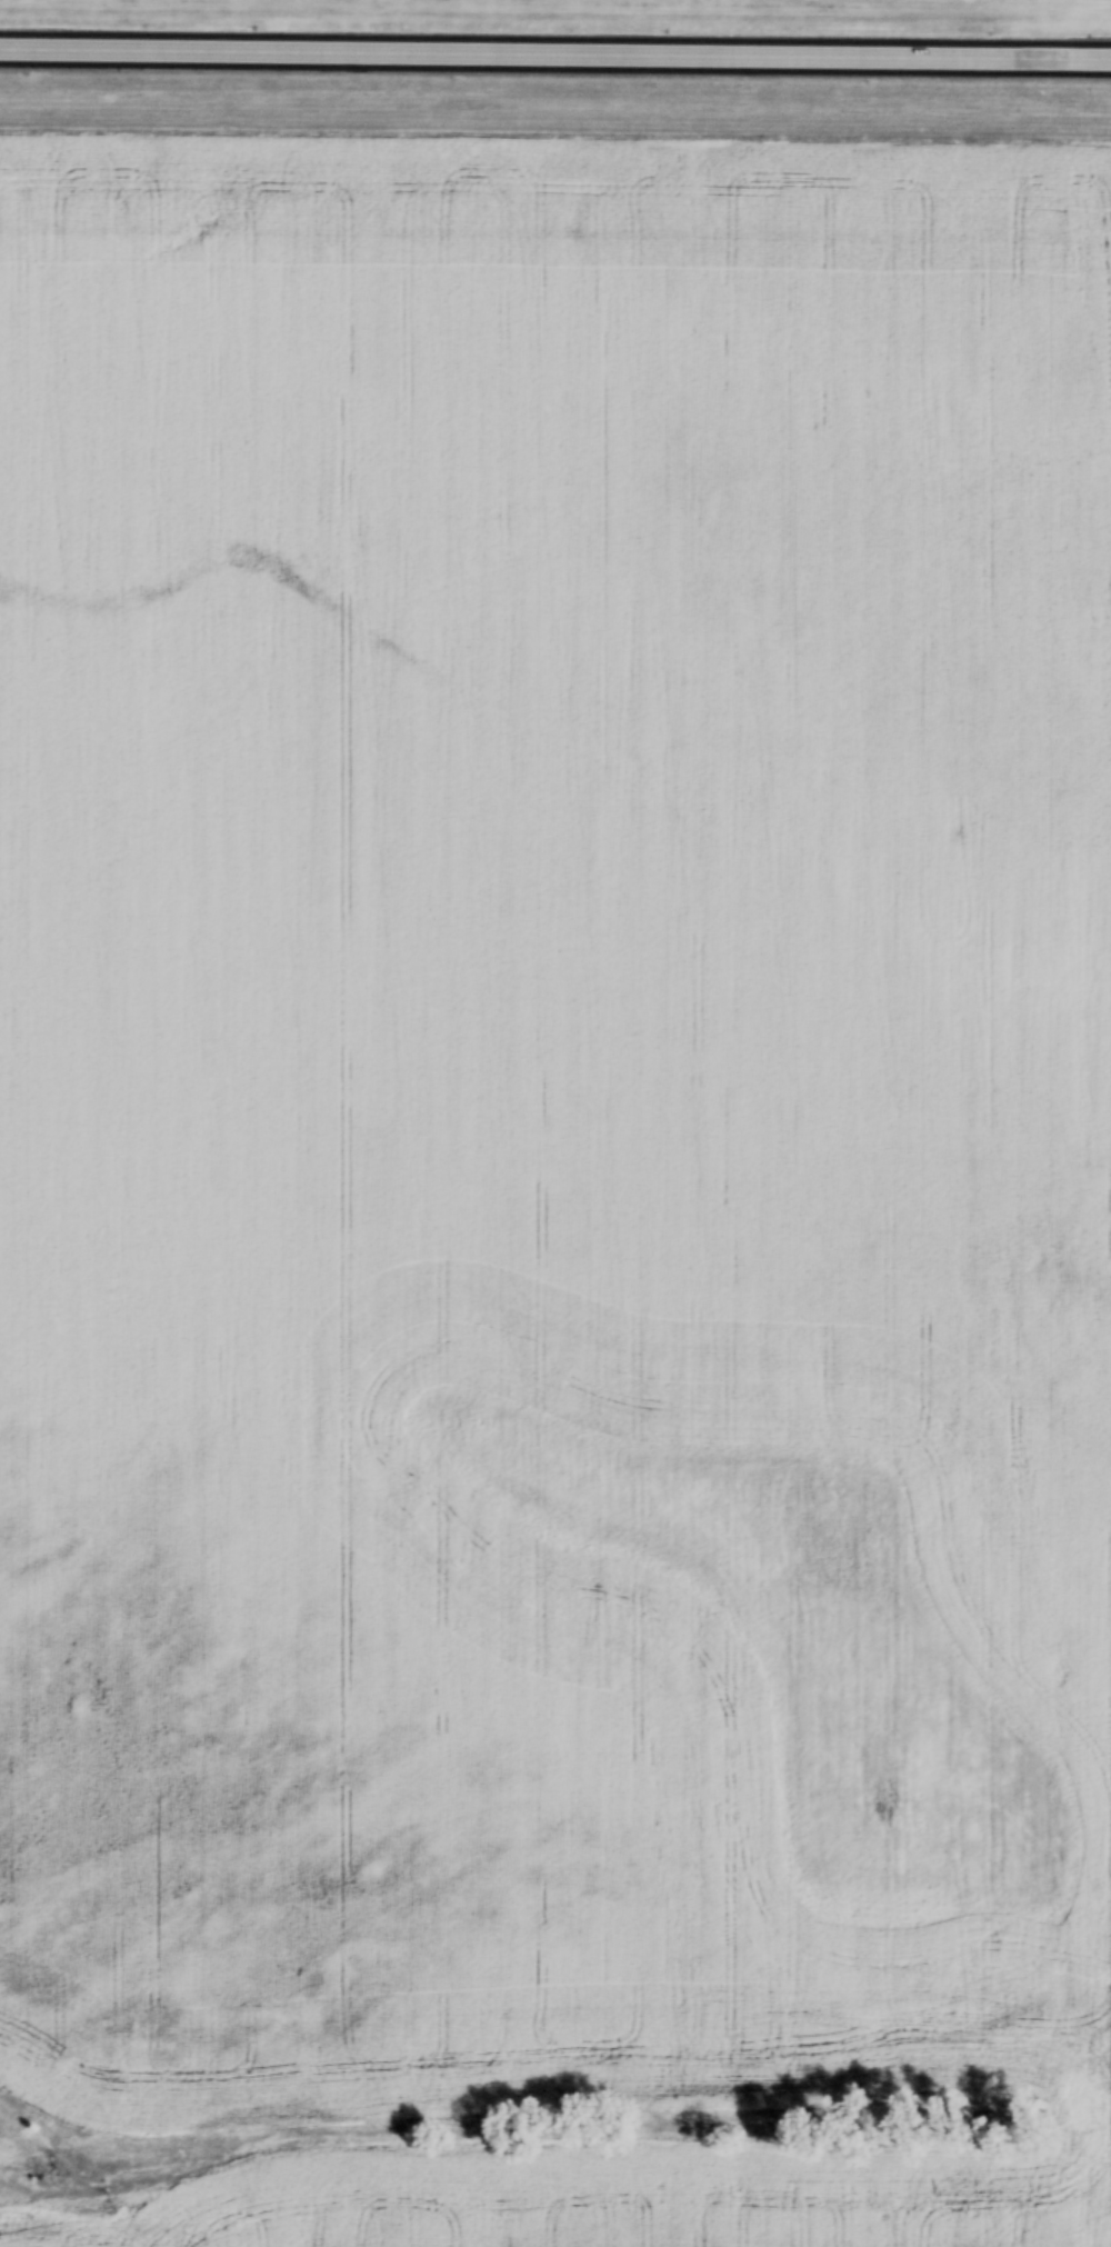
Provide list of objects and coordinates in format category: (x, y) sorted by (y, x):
road: (554, 49)
building: (720, 57)

